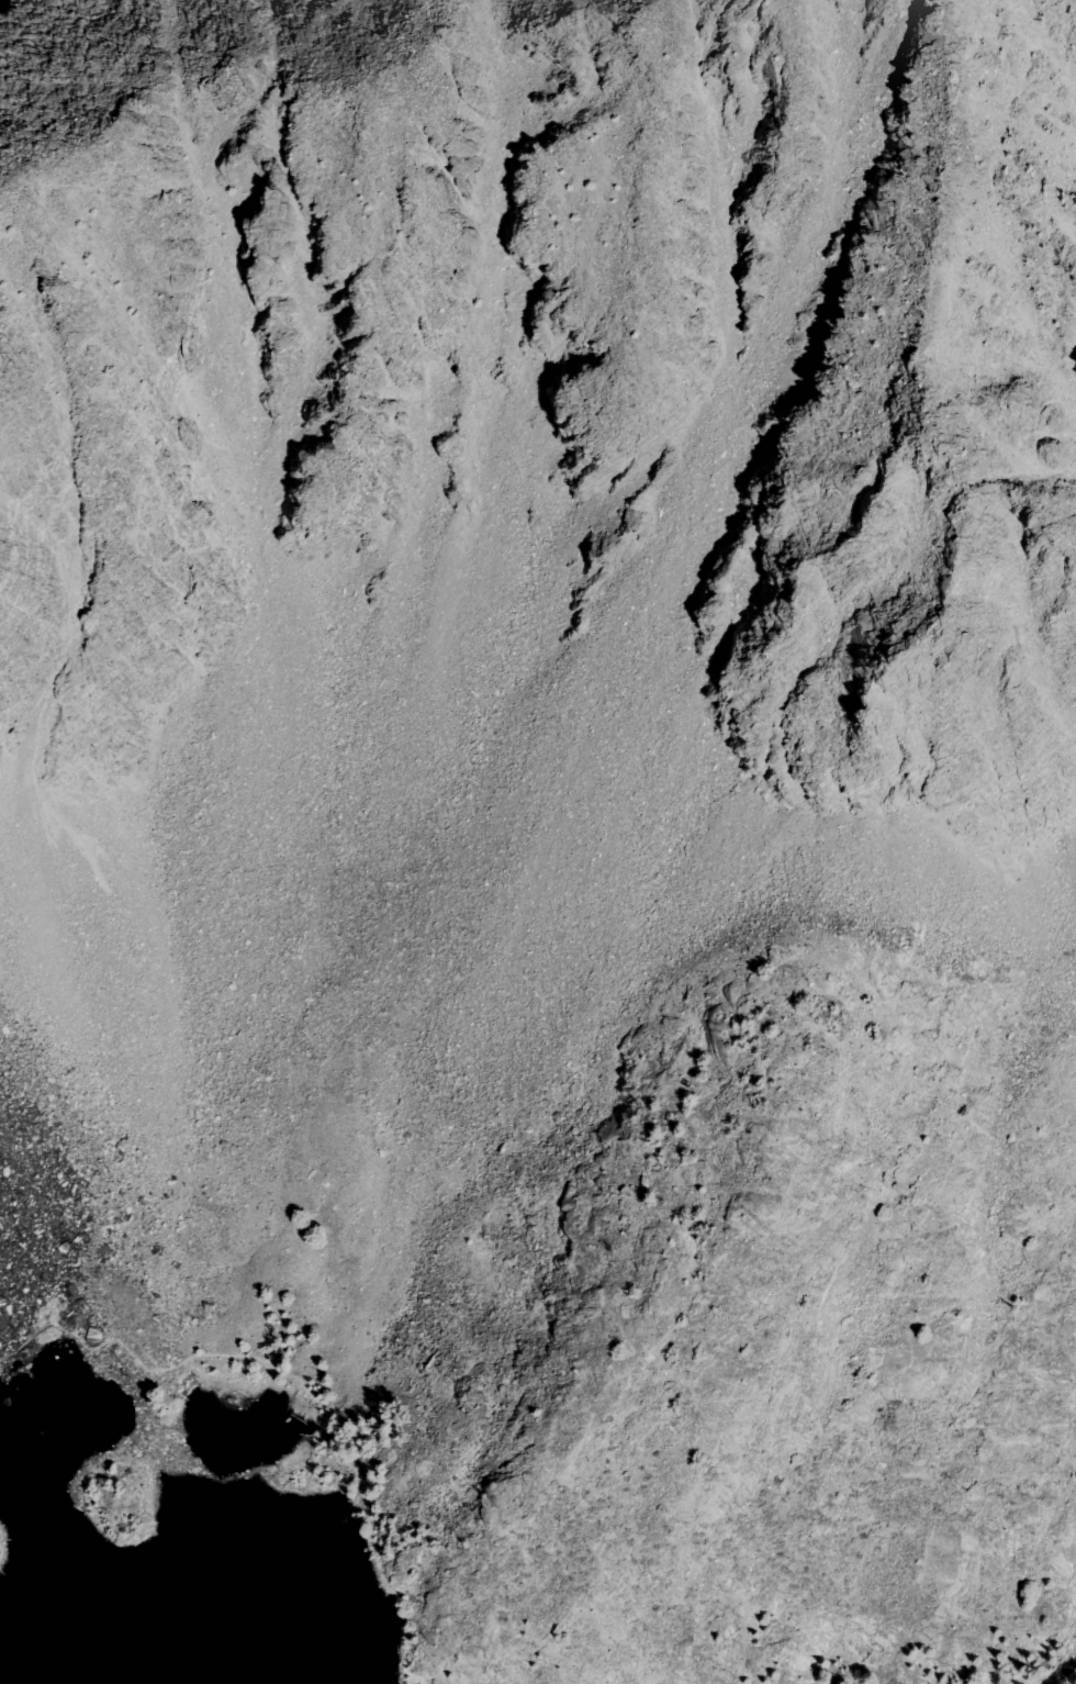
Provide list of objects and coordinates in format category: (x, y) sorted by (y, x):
road: (296, 1382)

